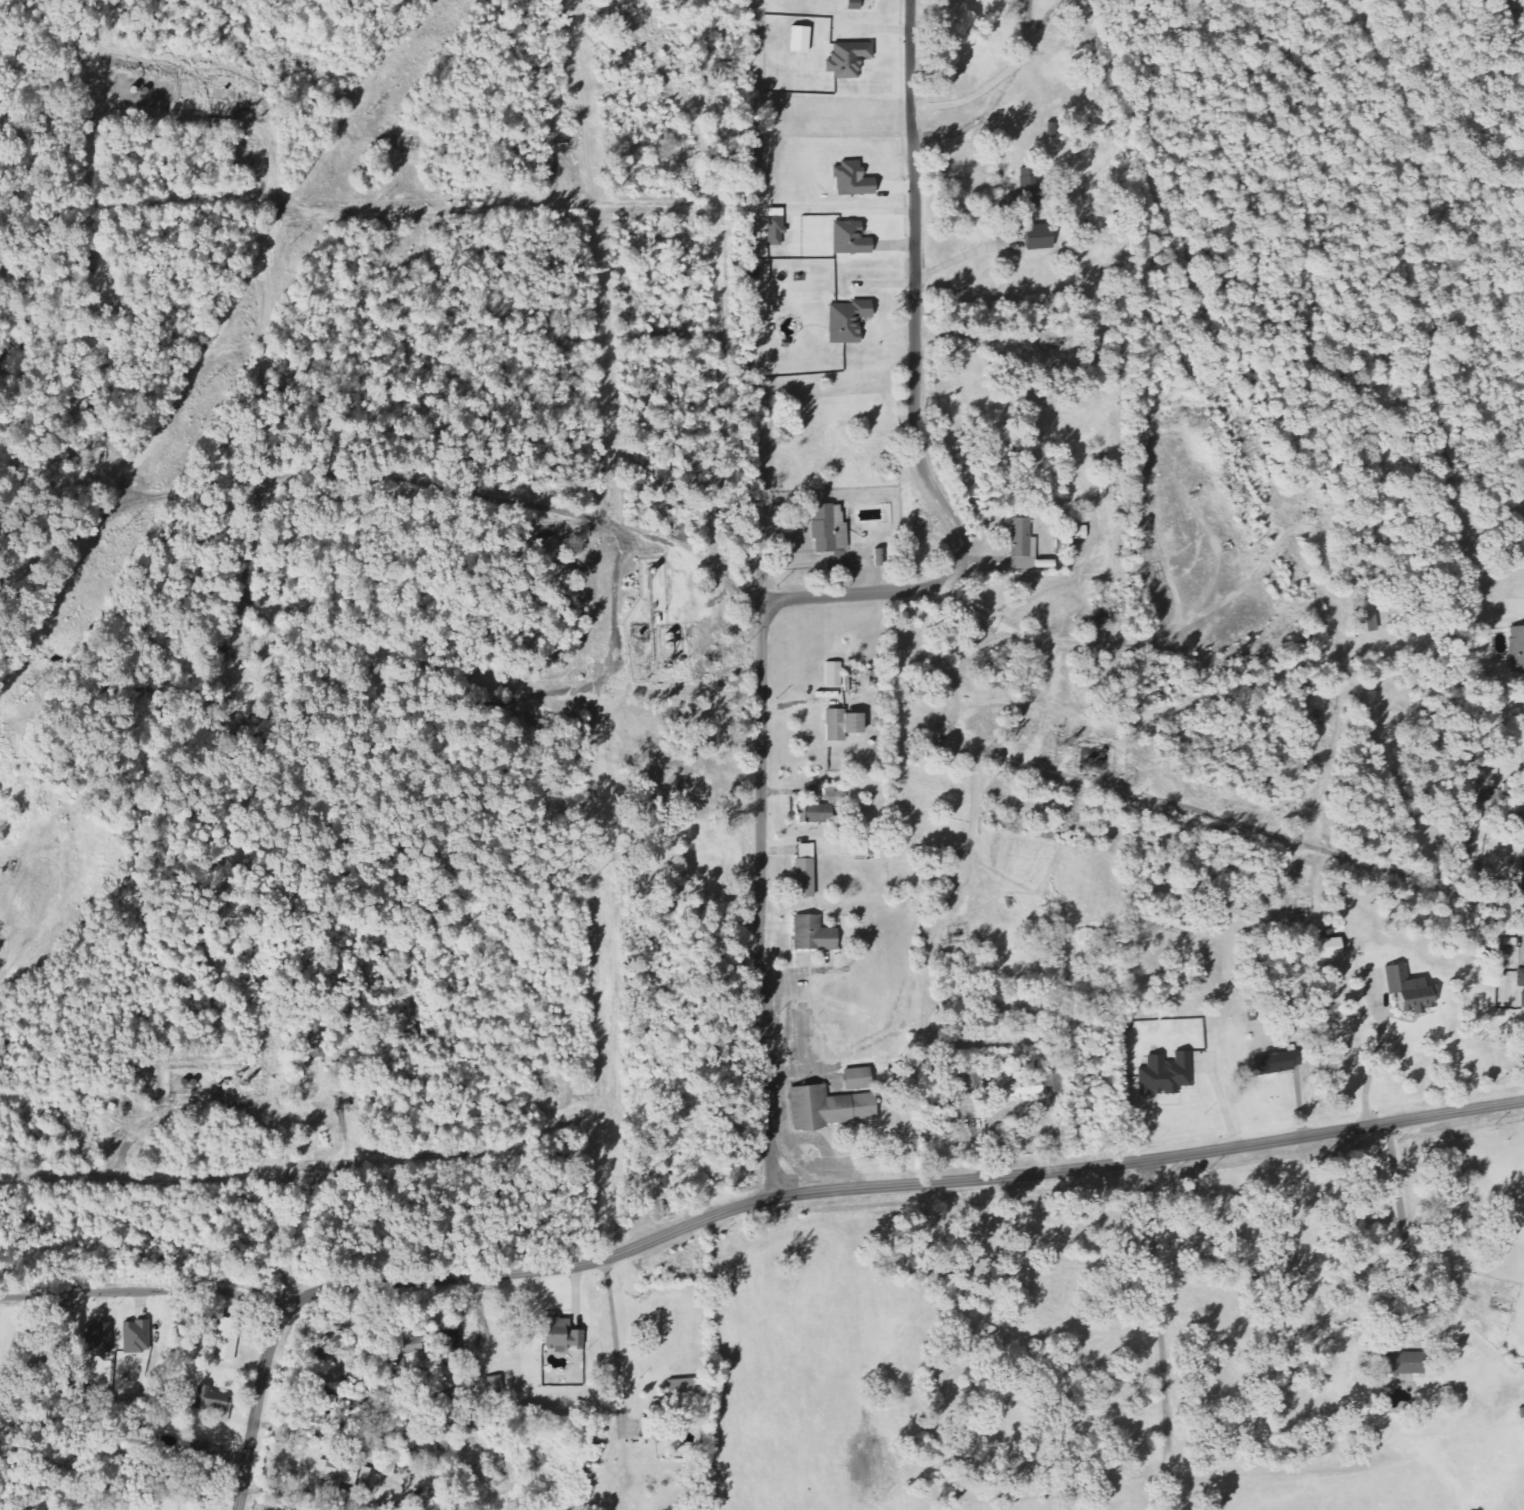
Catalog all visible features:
building: (853, 2)
building: (798, 39)
building: (846, 59)
road: (1003, 78)
road: (1414, 107)
road: (687, 110)
building: (855, 180)
building: (1031, 193)
road: (326, 211)
building: (778, 231)
building: (1044, 237)
building: (854, 240)
road: (962, 256)
building: (851, 321)
road: (919, 394)
road: (745, 416)
building: (831, 530)
building: (1024, 546)
building: (673, 643)
building: (1518, 647)
building: (835, 675)
road: (1346, 699)
building: (845, 725)
road: (1172, 807)
building: (815, 812)
building: (808, 872)
road: (766, 898)
building: (817, 935)
building: (1522, 988)
building: (1414, 992)
road: (1378, 1052)
building: (1281, 1063)
building: (1168, 1074)
building: (860, 1079)
building: (834, 1109)
road: (758, 1201)
road: (300, 1230)
building: (227, 1333)
building: (564, 1335)
road: (1161, 1335)
building: (138, 1337)
building: (100, 1340)
building: (1397, 1363)
building: (685, 1397)
road: (267, 1399)
building: (219, 1406)
building: (1523, 1414)
building: (651, 1429)
building: (343, 1471)

